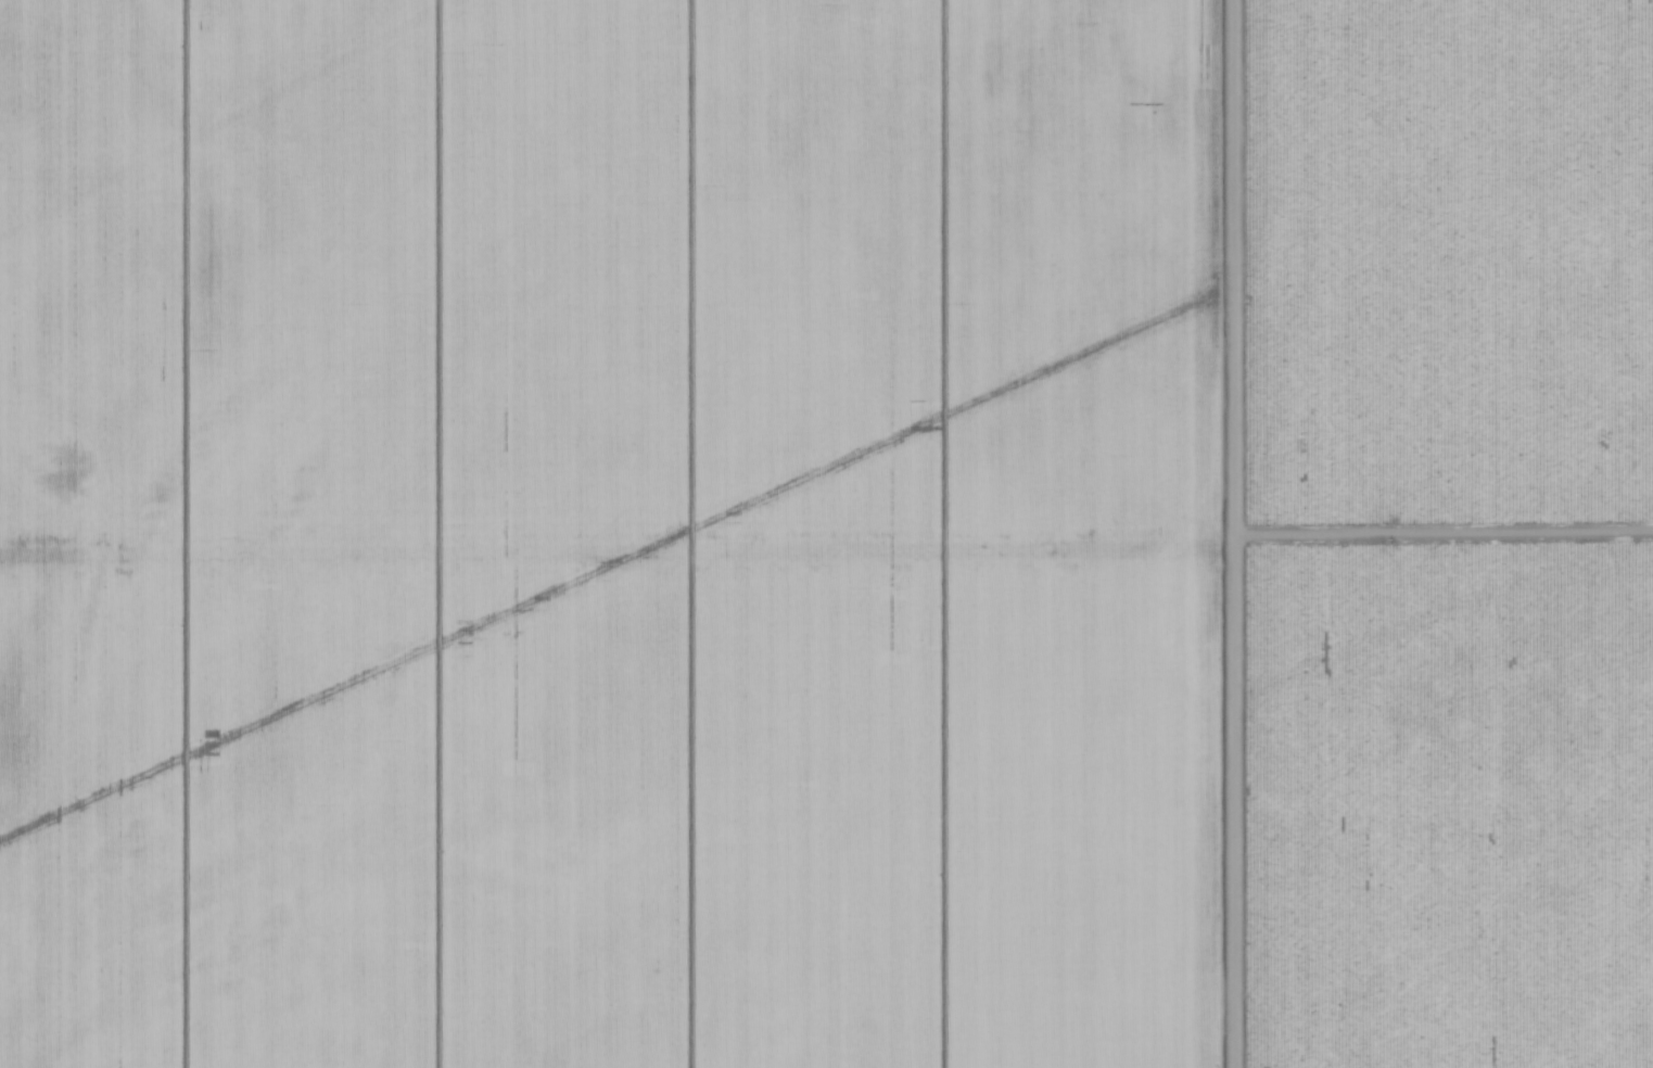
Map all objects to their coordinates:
road: (1233, 534)

